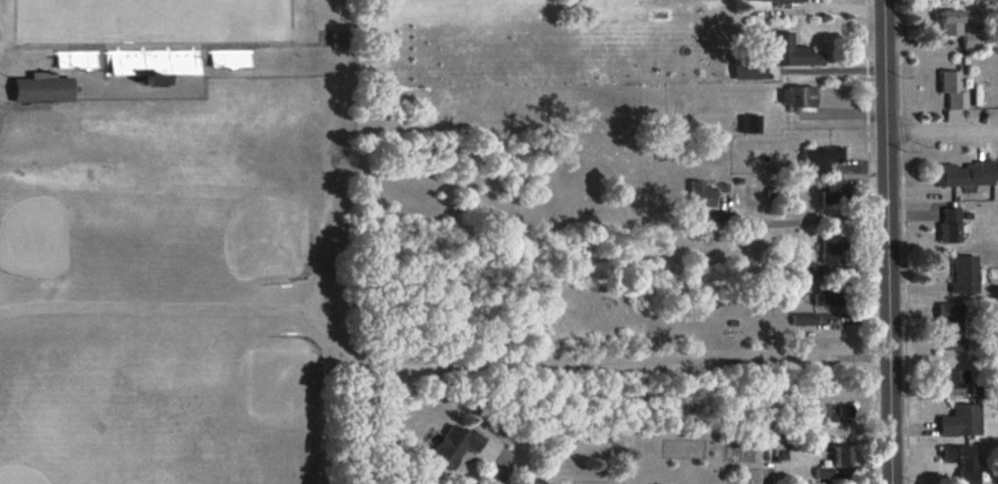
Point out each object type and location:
building: (787, 1)
building: (948, 22)
building: (337, 37)
building: (971, 39)
building: (791, 51)
building: (748, 68)
road: (831, 68)
building: (42, 87)
building: (952, 89)
building: (798, 96)
building: (750, 123)
road: (942, 128)
building: (821, 157)
building: (965, 173)
building: (700, 193)
building: (833, 193)
road: (810, 220)
building: (949, 225)
road: (887, 241)
building: (830, 248)
building: (962, 273)
building: (825, 297)
building: (801, 318)
building: (950, 325)
road: (432, 368)
building: (953, 382)
building: (836, 411)
building: (960, 421)
building: (454, 444)
building: (841, 454)
building: (961, 461)
road: (492, 474)

